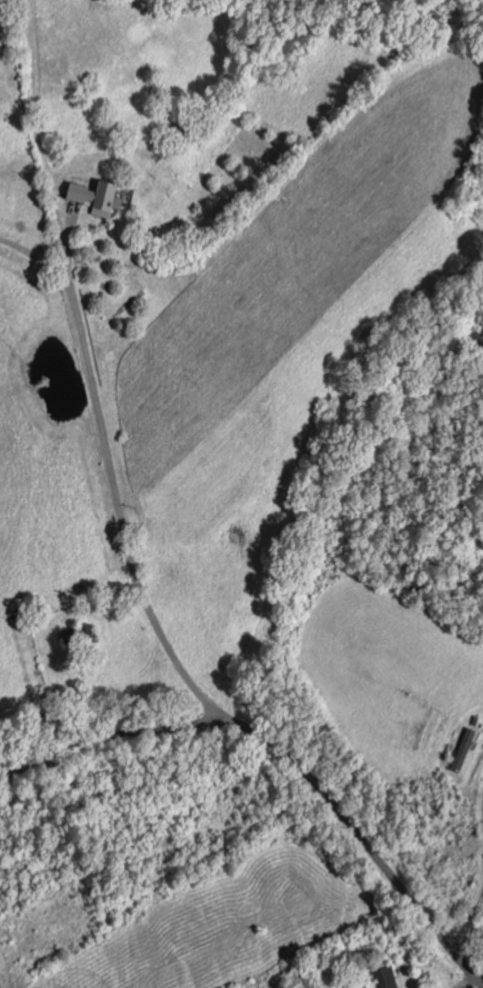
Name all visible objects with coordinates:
building: (95, 199)
road: (27, 254)
road: (121, 512)
road: (285, 758)
road: (468, 923)
building: (383, 977)

